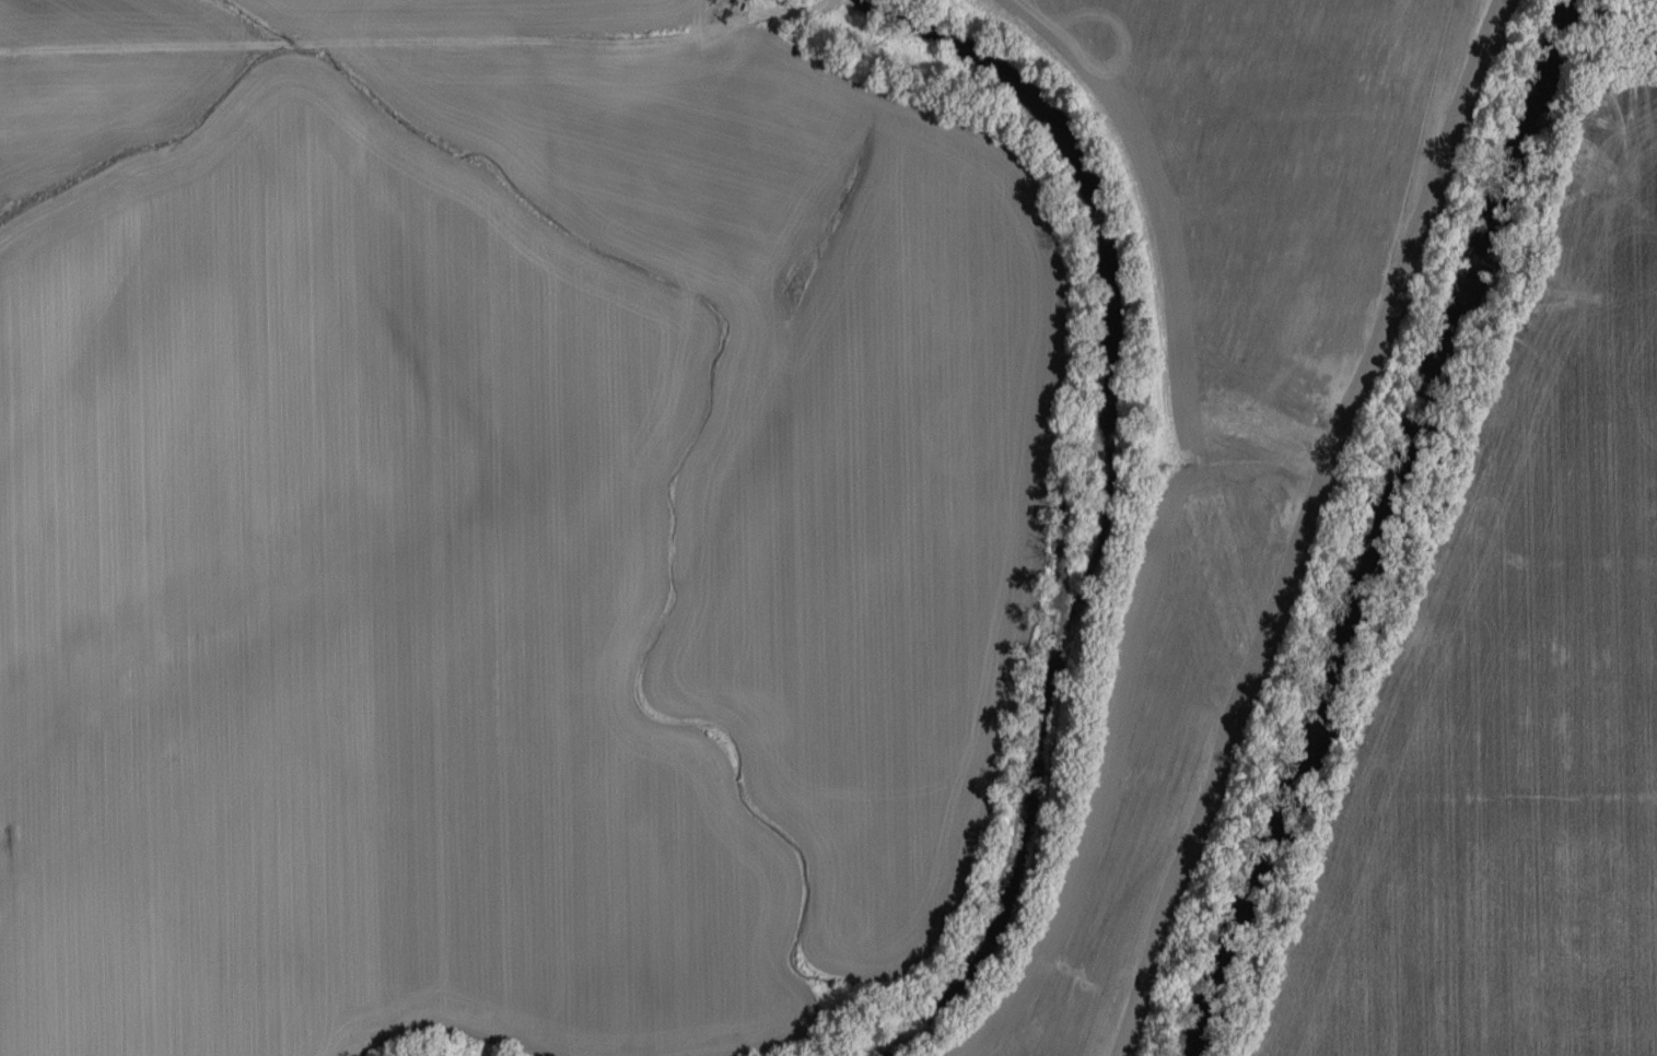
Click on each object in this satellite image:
river: (1093, 498)

